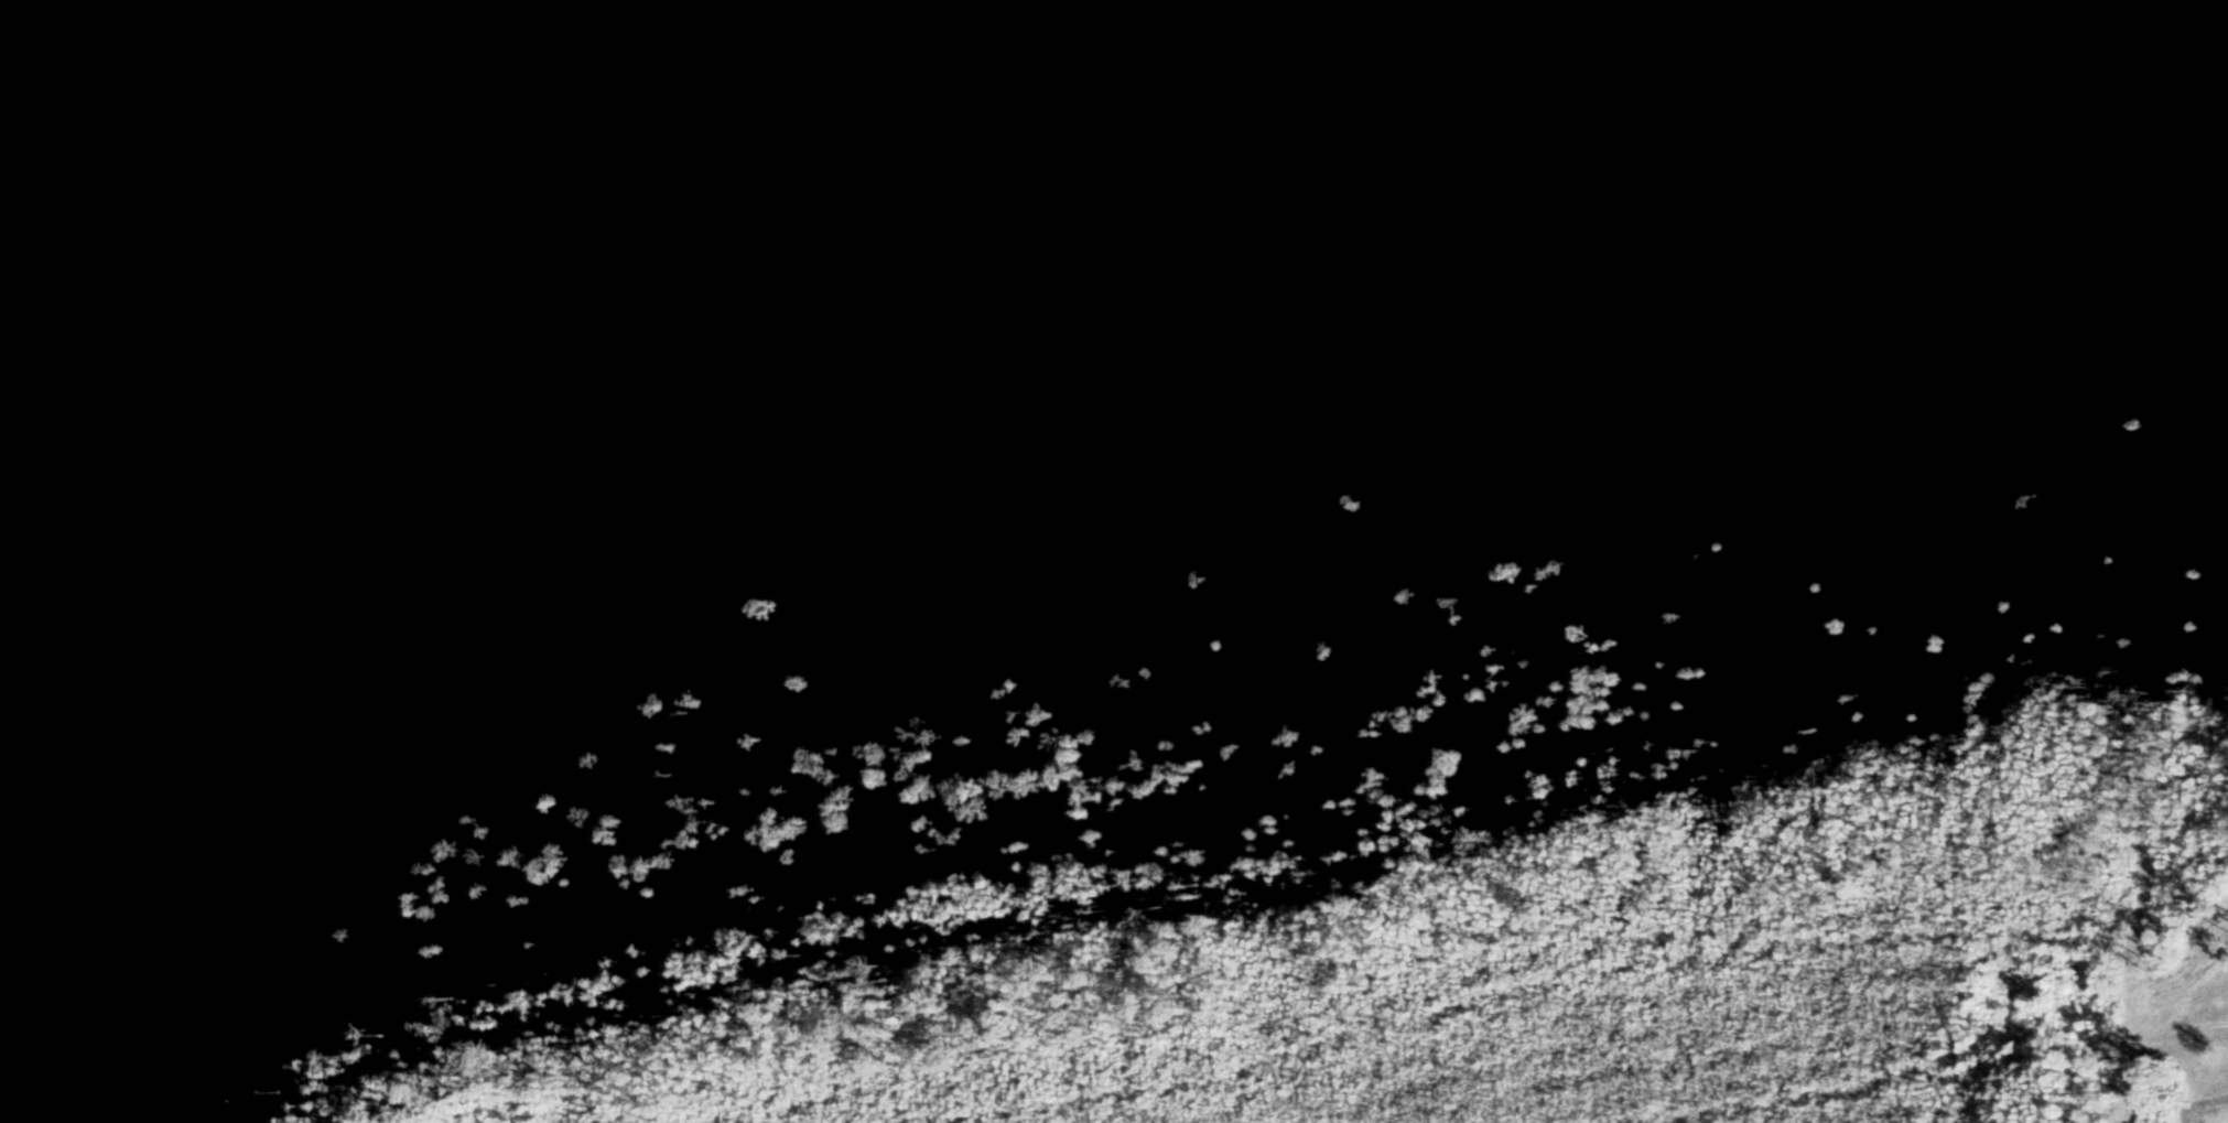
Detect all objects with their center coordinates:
road: (2149, 1041)
crop: (2206, 1111)

